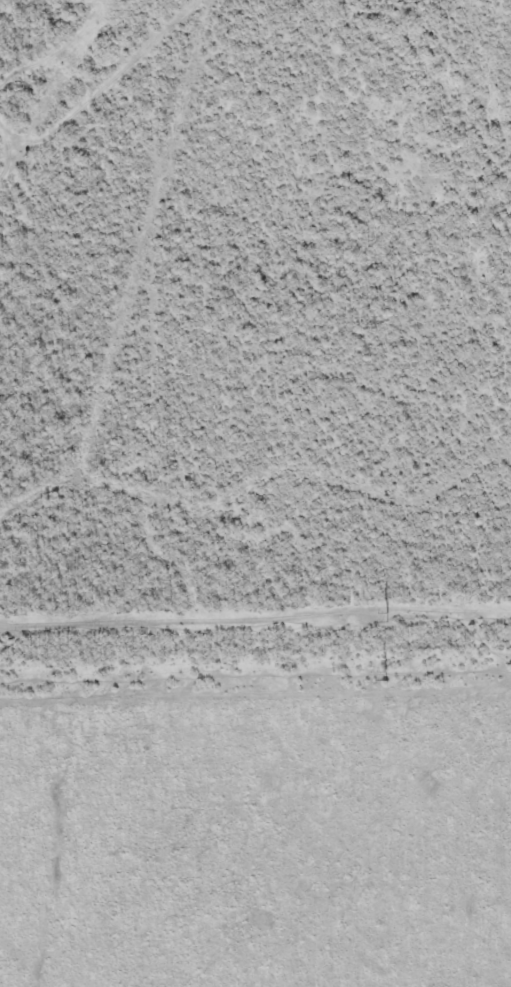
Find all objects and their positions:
power tower: (386, 618)
power tower: (387, 675)

